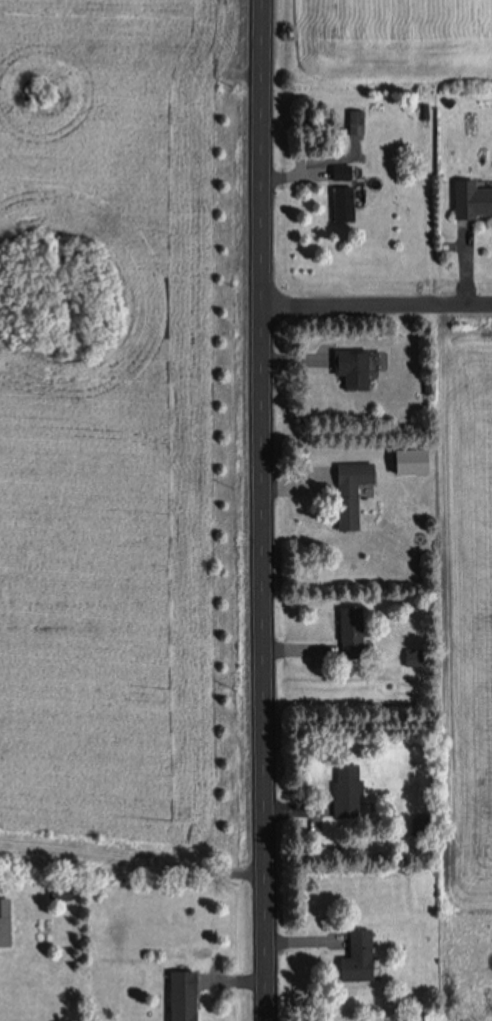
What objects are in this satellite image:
building: (339, 193)
building: (471, 200)
road: (375, 304)
building: (350, 367)
crop: (126, 432)
building: (414, 459)
building: (348, 492)
road: (260, 510)
building: (350, 632)
building: (345, 790)
building: (4, 922)
building: (354, 957)
building: (178, 995)

